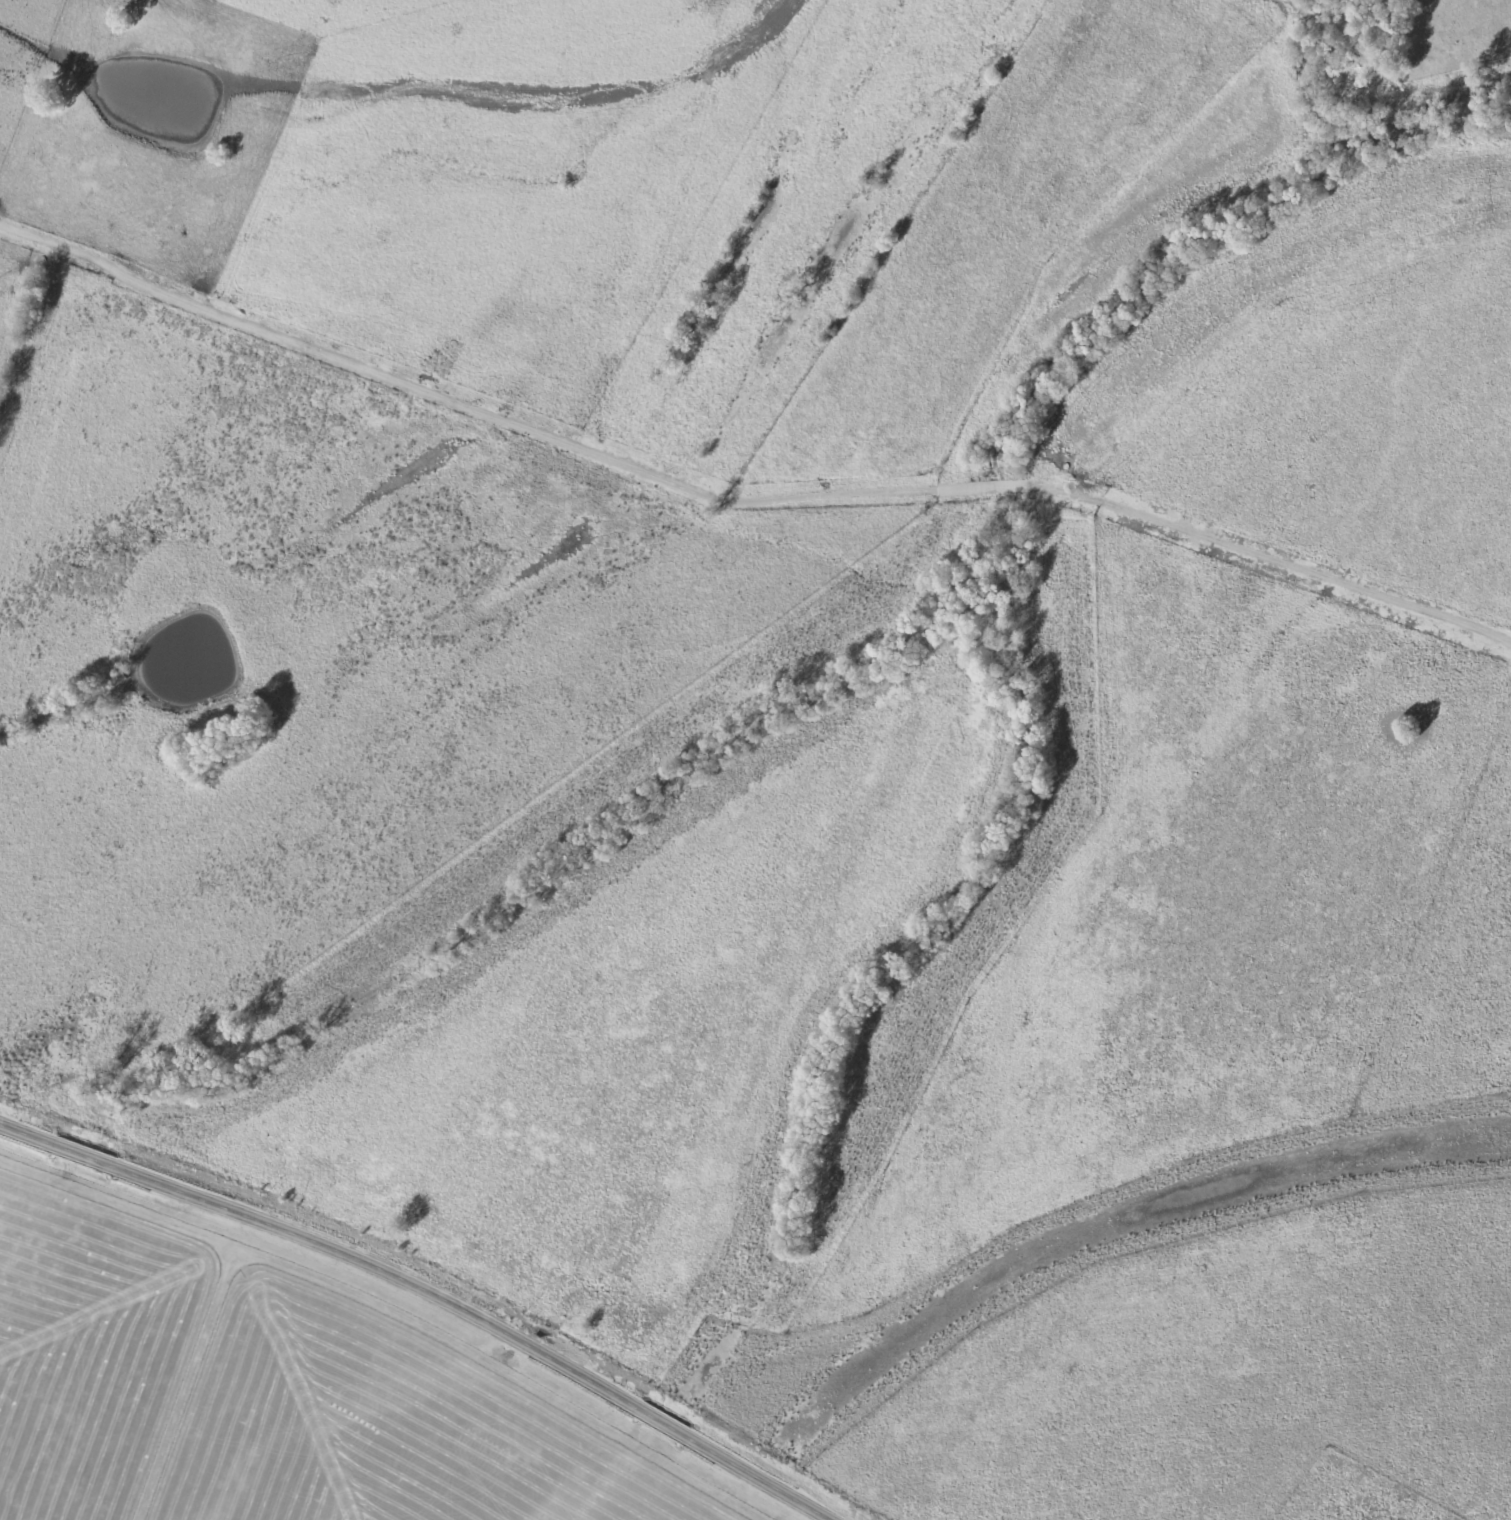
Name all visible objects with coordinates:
road: (428, 1292)

